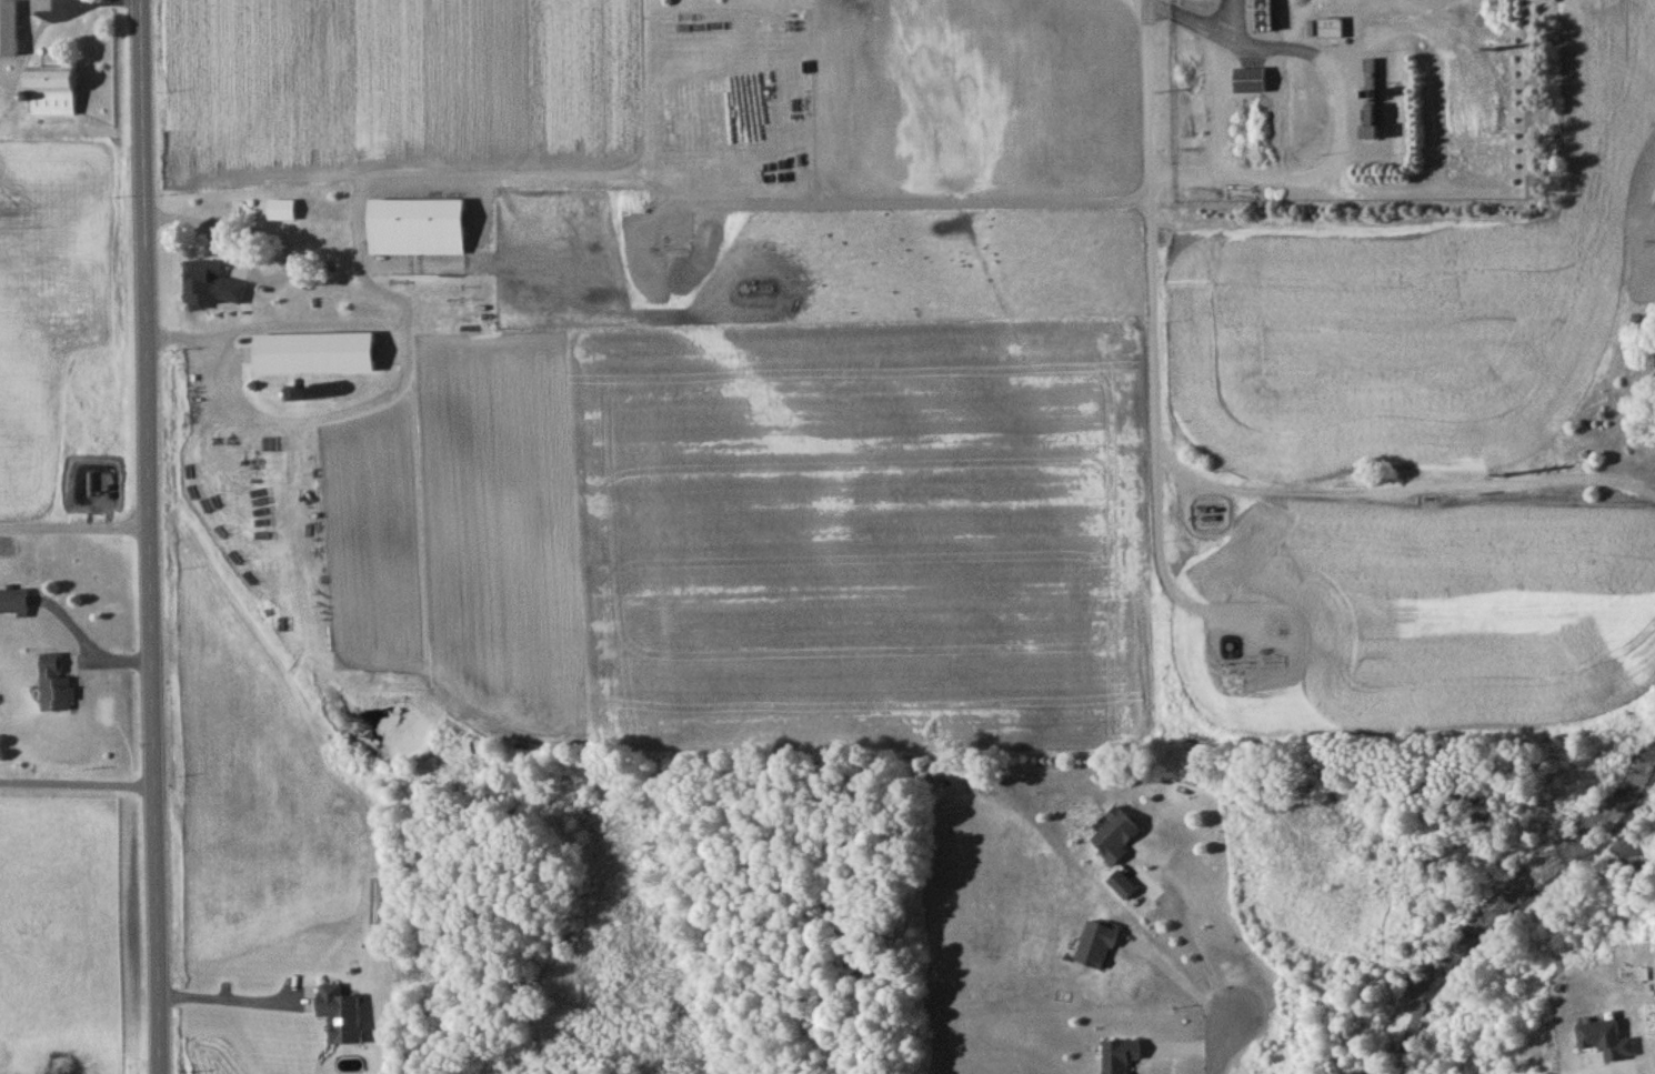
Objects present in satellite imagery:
building: (1264, 17)
road: (46, 28)
building: (8, 31)
building: (1332, 31)
power tower: (1494, 49)
building: (1250, 84)
building: (51, 94)
building: (1371, 102)
road: (901, 210)
building: (282, 213)
building: (417, 231)
road: (277, 234)
building: (212, 287)
building: (313, 358)
road: (1180, 473)
power tower: (1503, 476)
road: (74, 530)
road: (150, 536)
road: (1164, 573)
building: (13, 605)
building: (56, 687)
road: (77, 785)
building: (1115, 839)
road: (1193, 940)
road: (1181, 976)
road: (230, 1002)
building: (339, 1017)
building: (1606, 1043)
road: (1220, 1045)
road: (1623, 1073)

